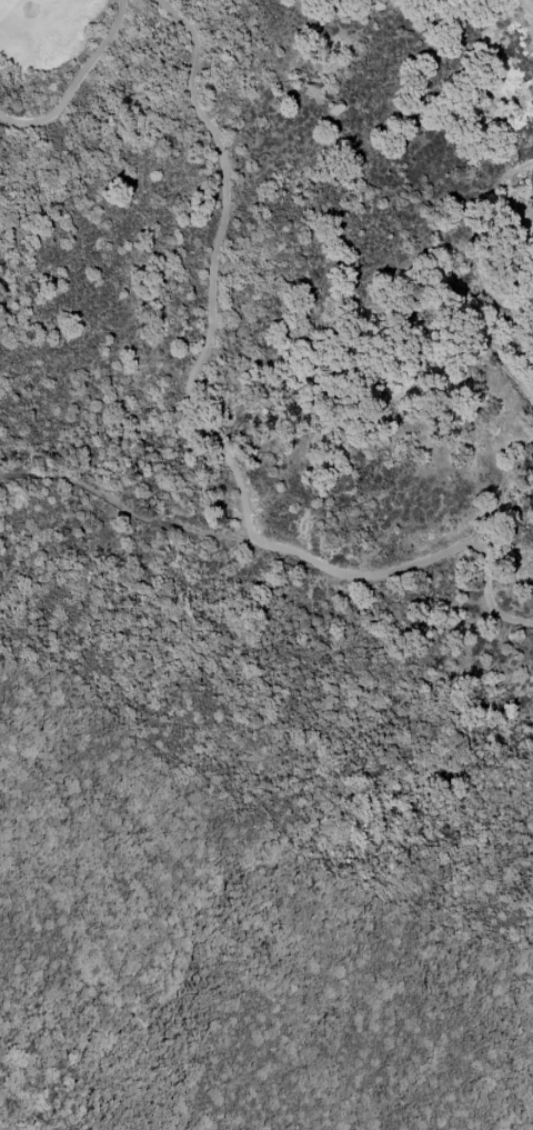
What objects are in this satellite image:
road: (532, 0)
park: (43, 31)
road: (76, 82)
road: (483, 277)
road: (208, 430)
road: (502, 489)
road: (124, 511)

